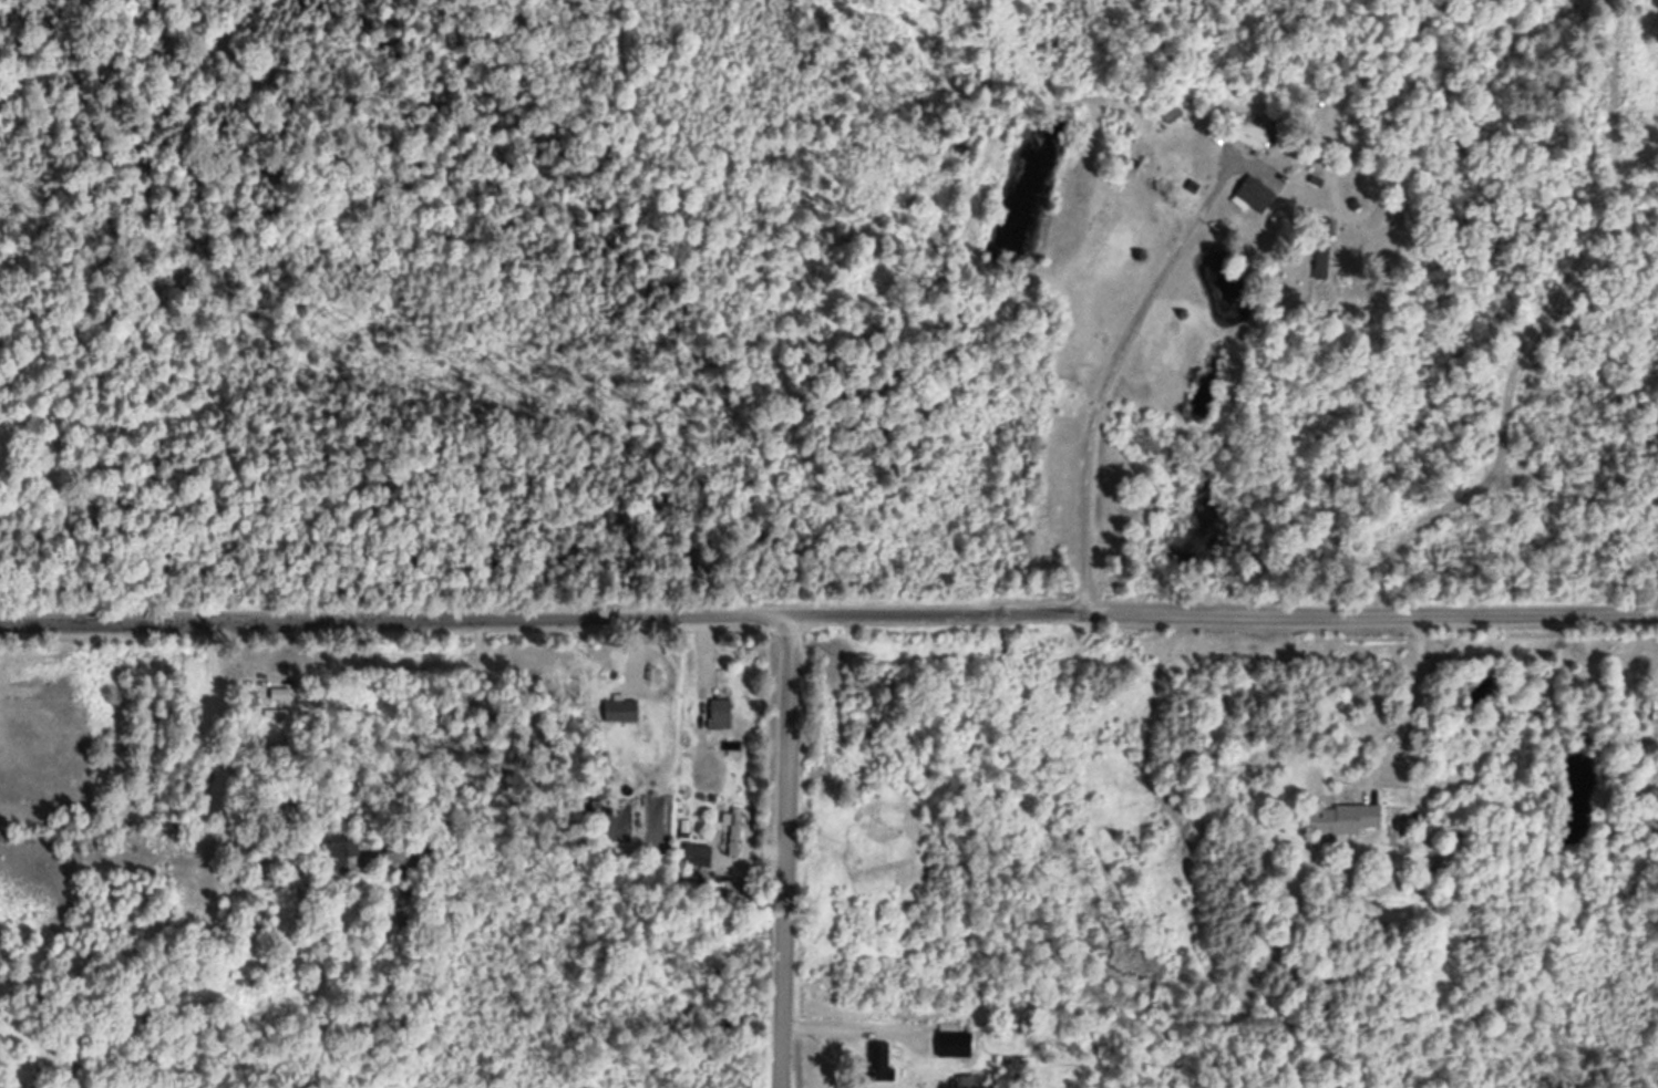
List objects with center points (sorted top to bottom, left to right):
building: (1244, 134)
building: (1250, 193)
building: (1318, 247)
road: (1157, 386)
road: (828, 615)
building: (275, 694)
building: (615, 707)
building: (715, 713)
building: (1651, 714)
building: (1337, 817)
building: (730, 830)
road: (785, 852)
building: (691, 853)
building: (254, 881)
building: (949, 1042)
building: (966, 1080)

